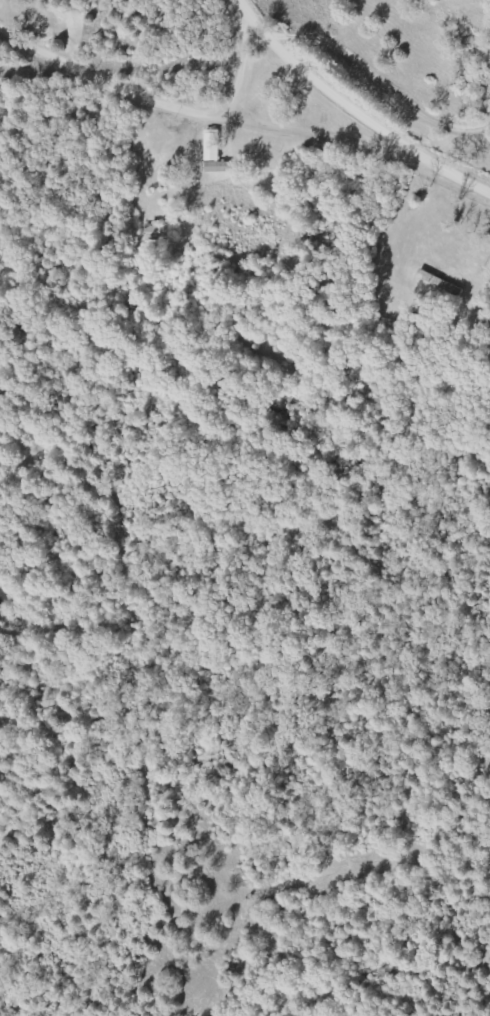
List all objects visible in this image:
road: (30, 22)
road: (158, 127)
road: (327, 142)
building: (214, 156)
building: (157, 233)
road: (15, 830)

